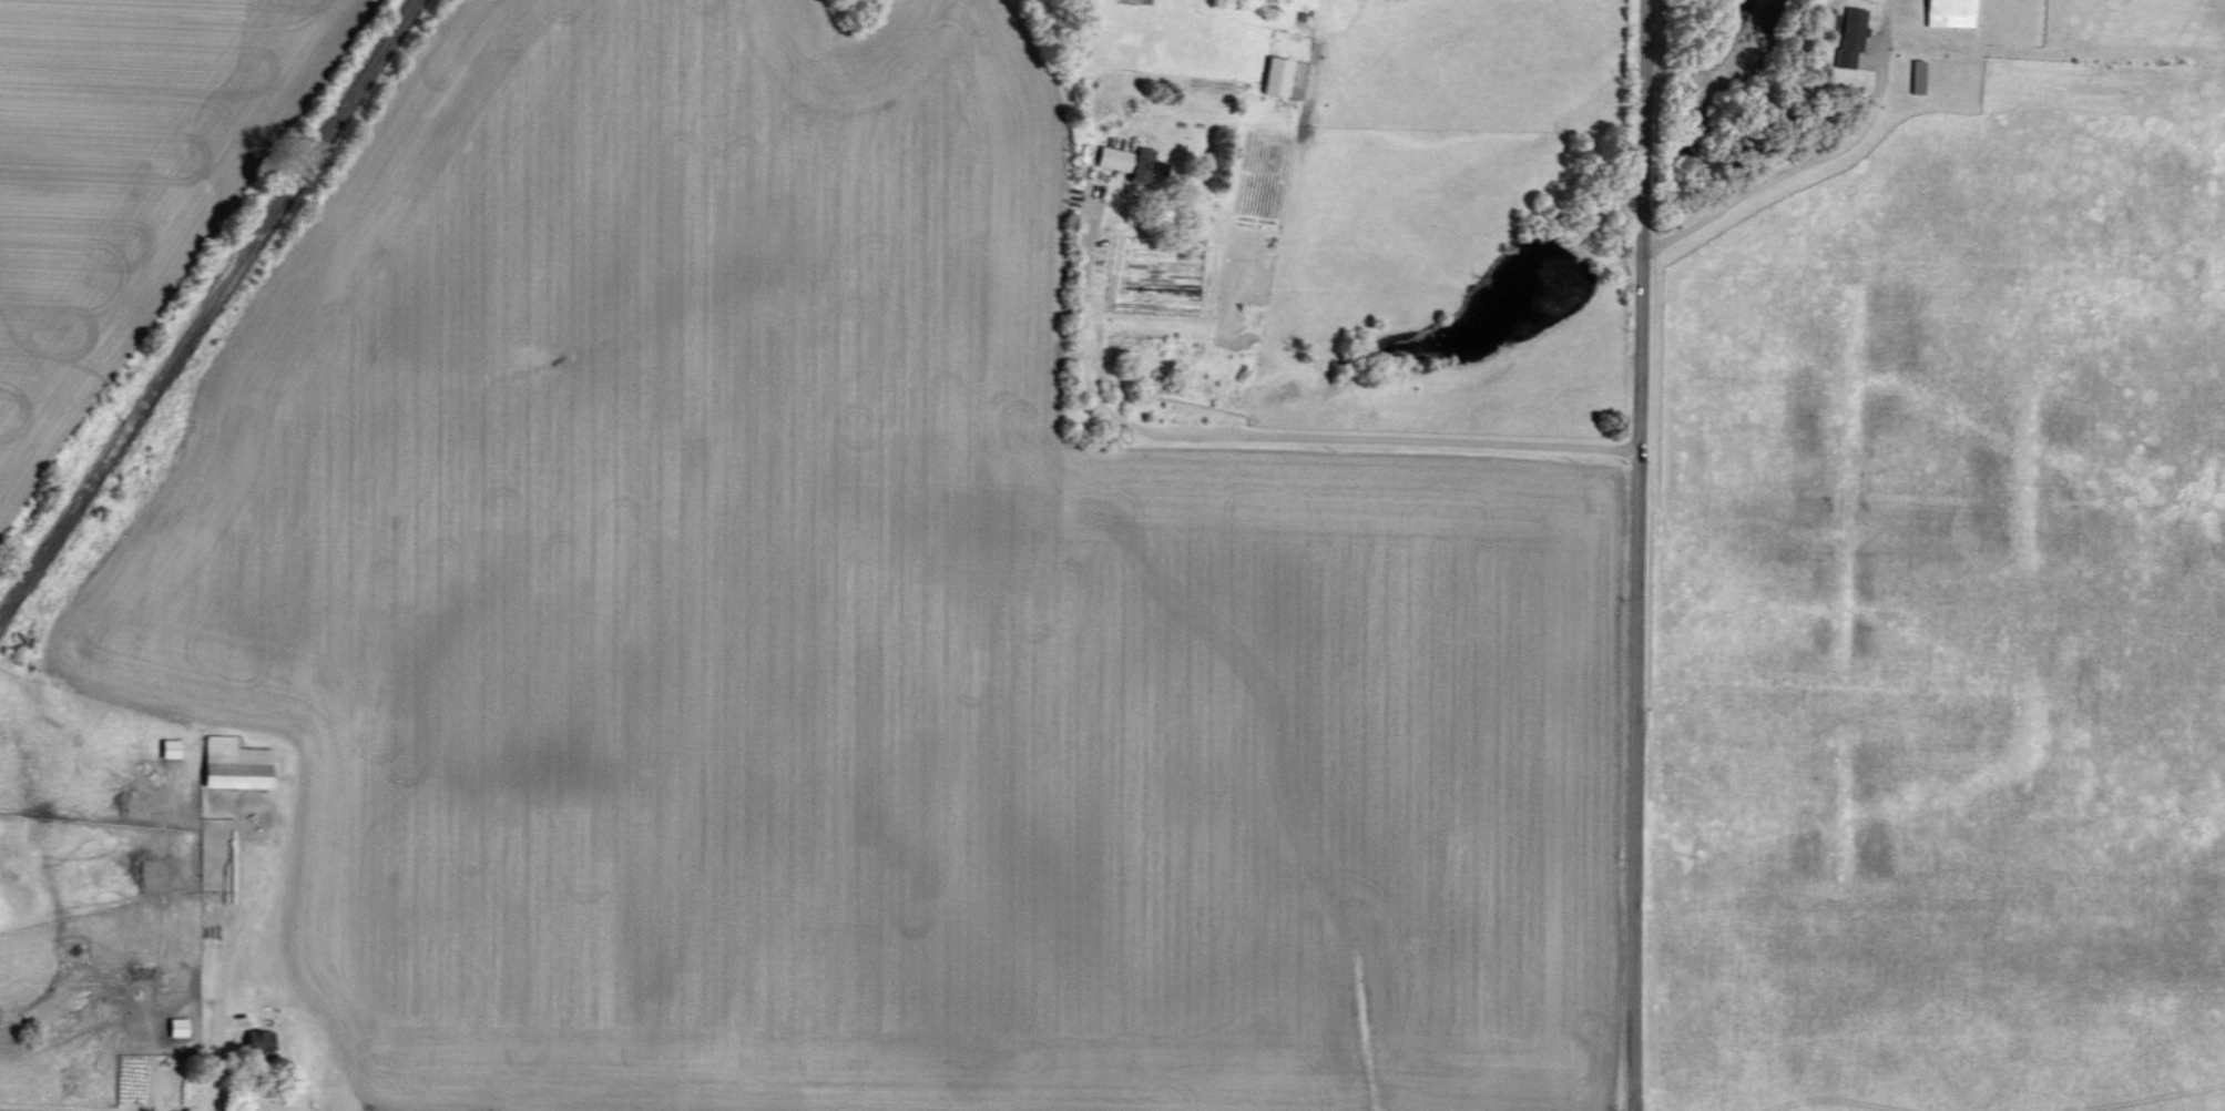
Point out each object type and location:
building: (1945, 12)
building: (1847, 35)
building: (1272, 75)
building: (1127, 163)
road: (1788, 171)
railway: (206, 308)
road: (1265, 439)
road: (1637, 555)
building: (238, 764)
road: (217, 1030)
building: (263, 1043)

